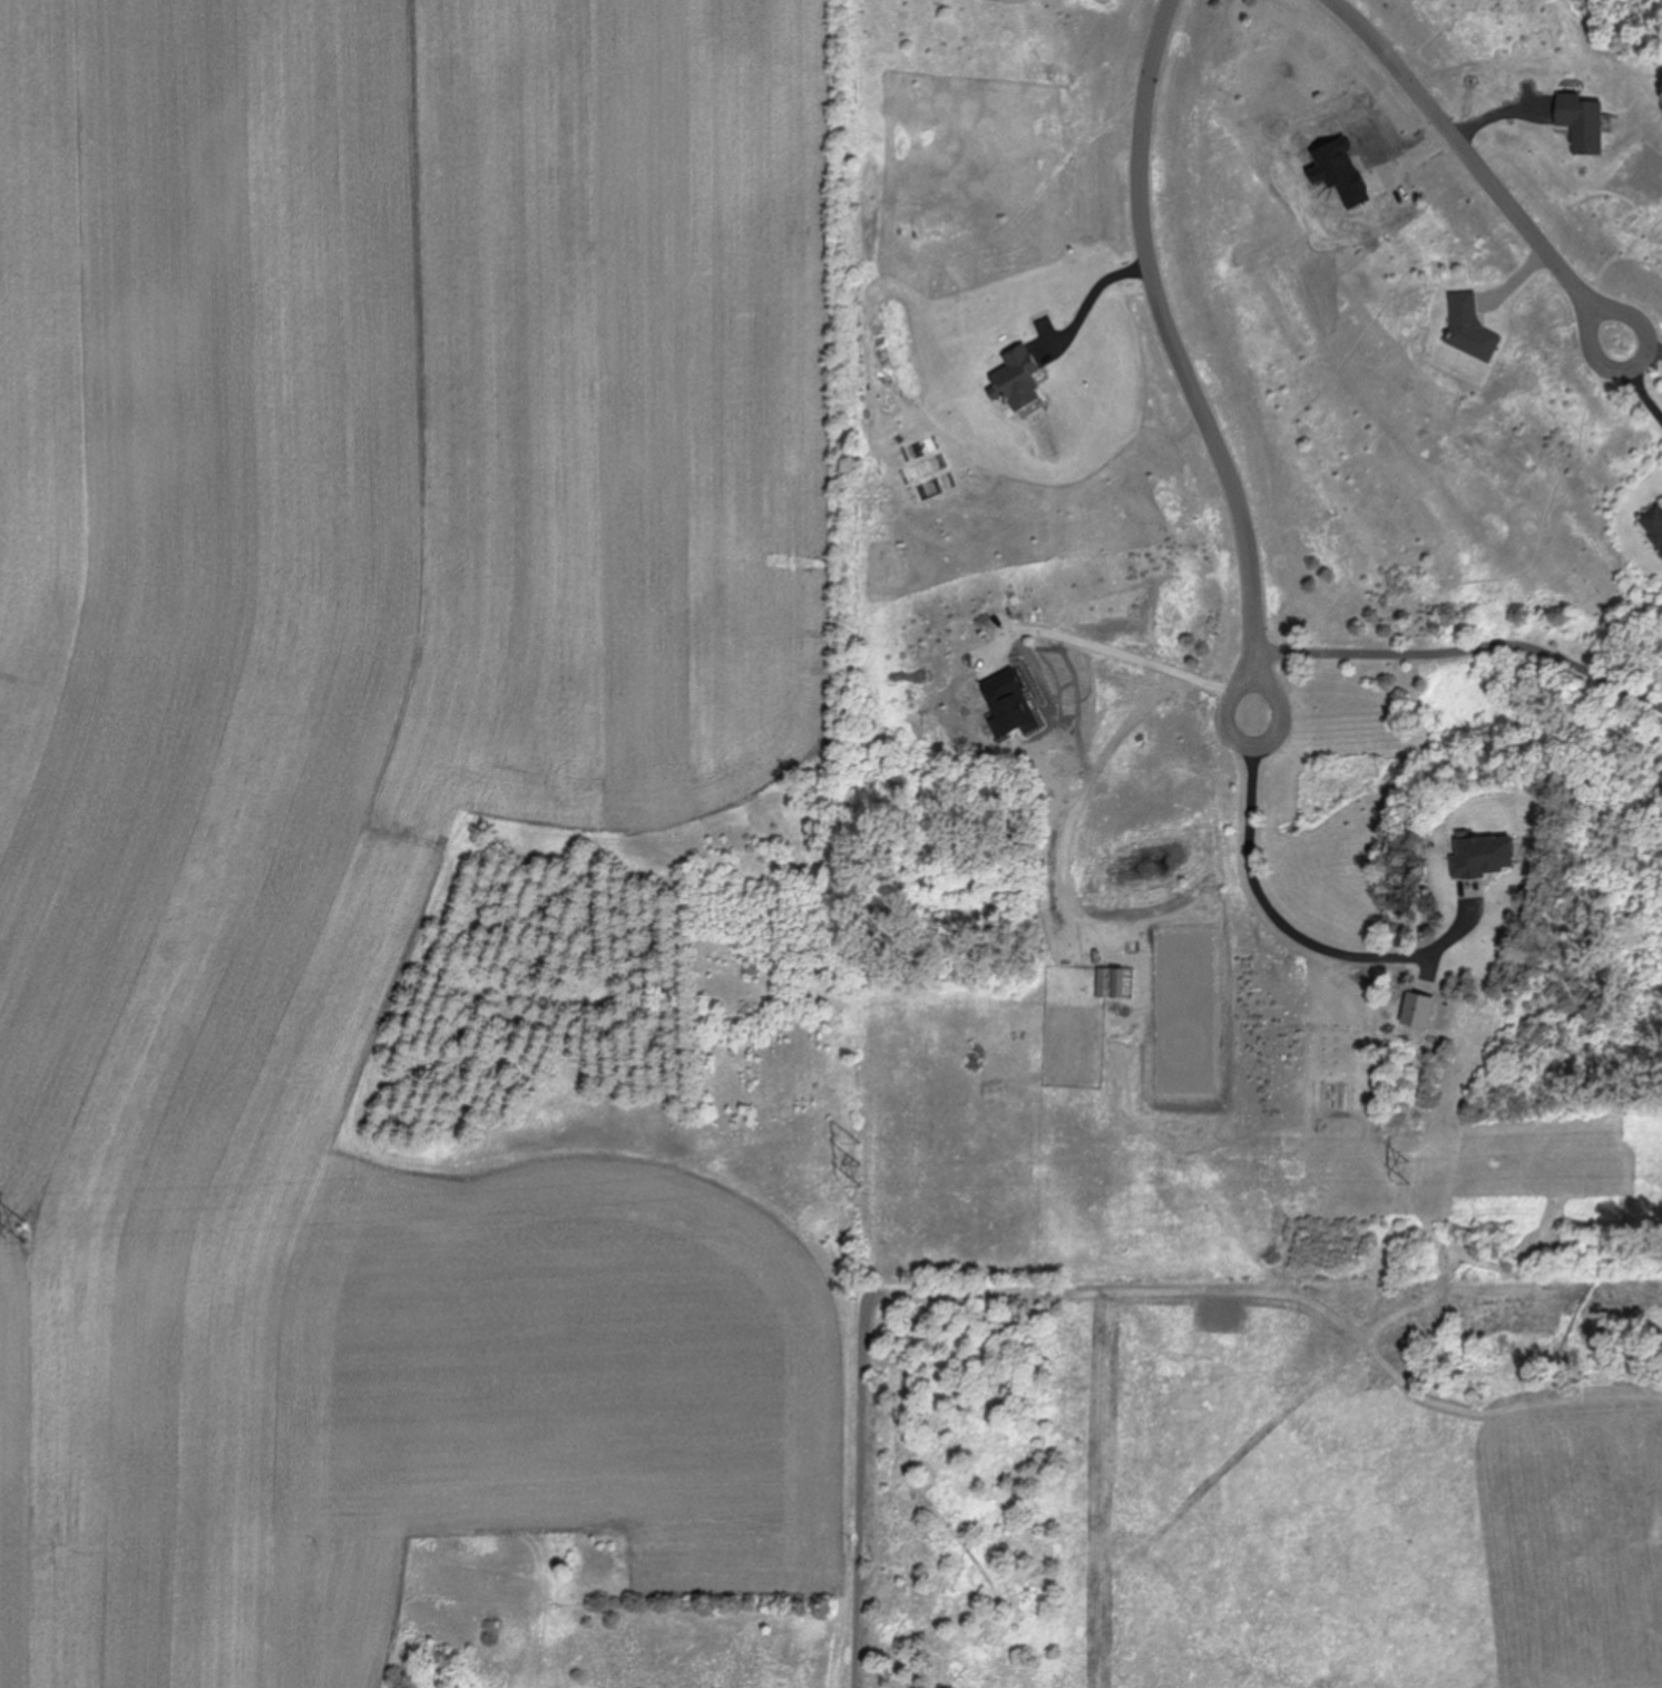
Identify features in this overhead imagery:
road: (1477, 166)
road: (1091, 287)
road: (1185, 361)
road: (1636, 378)
road: (1467, 642)
road: (1127, 645)
crop: (424, 846)
road: (1277, 917)
power tower: (866, 1169)
power tower: (1447, 1178)
power tower: (30, 1231)
crop: (1363, 1484)

